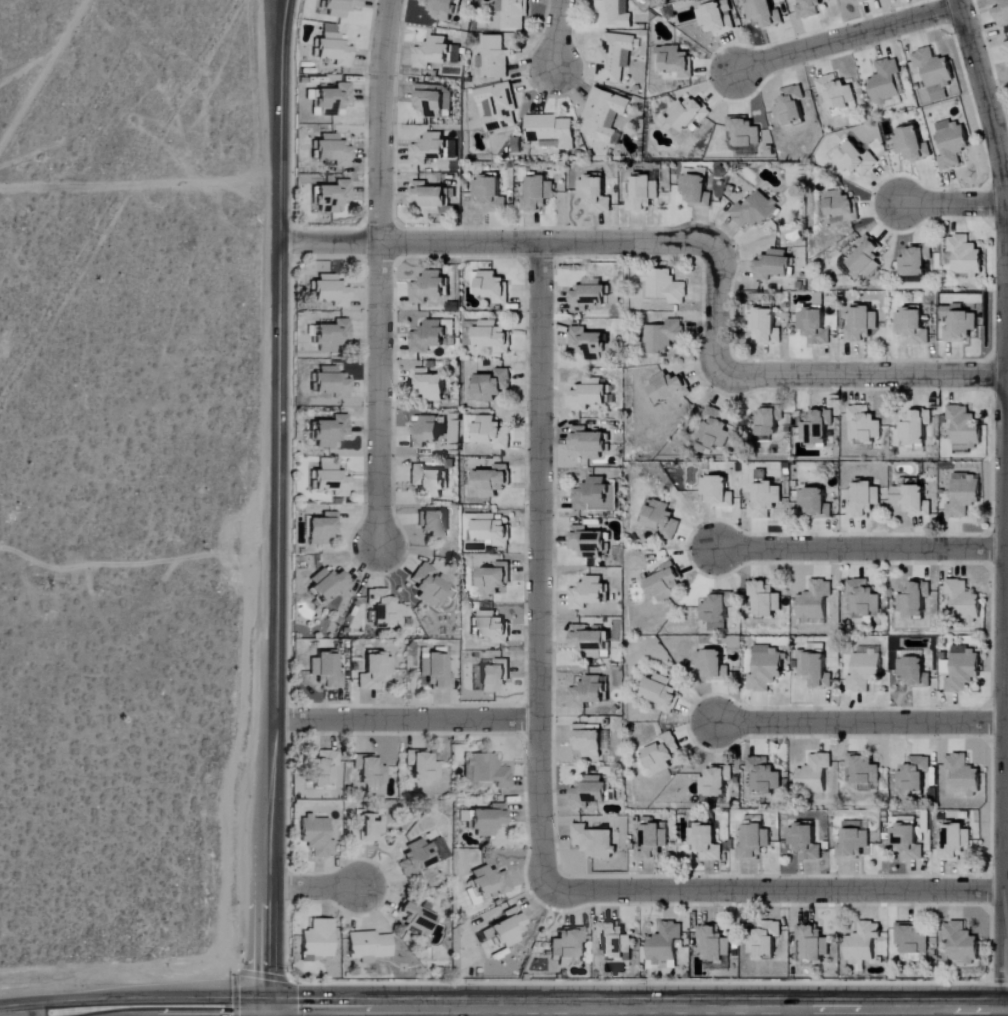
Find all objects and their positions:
building: (860, 1)
building: (707, 3)
building: (341, 8)
building: (444, 8)
building: (809, 9)
building: (765, 13)
building: (513, 14)
building: (614, 15)
building: (1003, 15)
building: (718, 18)
road: (556, 35)
road: (847, 39)
building: (334, 47)
building: (1006, 49)
building: (437, 54)
building: (615, 57)
building: (493, 58)
building: (674, 61)
road: (42, 71)
building: (886, 83)
building: (838, 93)
building: (334, 99)
building: (433, 100)
building: (497, 107)
building: (792, 107)
building: (604, 114)
building: (689, 114)
building: (550, 132)
building: (745, 132)
building: (953, 144)
building: (912, 145)
building: (430, 150)
building: (333, 152)
building: (856, 160)
road: (1004, 184)
building: (697, 190)
building: (490, 194)
building: (596, 194)
building: (538, 195)
building: (643, 195)
building: (333, 197)
building: (431, 198)
road: (952, 203)
building: (756, 212)
road: (409, 242)
building: (966, 256)
building: (868, 257)
building: (915, 263)
building: (775, 266)
road: (379, 272)
building: (430, 287)
building: (494, 287)
building: (666, 287)
building: (332, 290)
building: (592, 295)
building: (861, 324)
building: (959, 324)
building: (914, 326)
building: (766, 327)
building: (815, 327)
building: (332, 335)
building: (429, 336)
building: (487, 336)
building: (663, 336)
building: (591, 343)
road: (721, 364)
building: (332, 381)
building: (431, 385)
building: (492, 385)
building: (668, 387)
building: (592, 394)
building: (769, 421)
building: (865, 424)
building: (965, 426)
building: (715, 427)
building: (916, 428)
building: (817, 429)
building: (426, 430)
building: (331, 431)
building: (493, 432)
building: (591, 442)
building: (332, 479)
building: (428, 479)
building: (493, 481)
building: (718, 491)
building: (966, 495)
building: (596, 496)
building: (766, 497)
building: (913, 499)
building: (865, 500)
building: (817, 502)
road: (277, 508)
building: (663, 518)
building: (435, 523)
building: (323, 528)
building: (486, 529)
building: (591, 542)
road: (859, 549)
road: (538, 562)
building: (496, 579)
building: (666, 583)
building: (329, 584)
building: (429, 585)
building: (589, 593)
building: (765, 597)
building: (865, 598)
building: (815, 601)
building: (915, 601)
building: (965, 601)
building: (384, 608)
building: (717, 610)
building: (492, 627)
building: (592, 642)
building: (713, 664)
building: (766, 668)
building: (815, 669)
building: (965, 669)
building: (326, 670)
building: (436, 671)
building: (865, 671)
building: (915, 671)
building: (374, 672)
building: (495, 675)
building: (588, 692)
road: (1005, 692)
building: (663, 693)
road: (407, 720)
road: (859, 722)
building: (589, 741)
building: (663, 754)
building: (422, 765)
building: (323, 769)
building: (486, 769)
building: (369, 770)
building: (862, 770)
building: (815, 774)
building: (765, 775)
building: (915, 775)
building: (963, 775)
building: (716, 782)
building: (478, 786)
building: (592, 792)
building: (488, 820)
building: (367, 829)
building: (318, 836)
building: (595, 841)
building: (855, 841)
building: (653, 842)
building: (707, 842)
building: (756, 842)
building: (806, 842)
building: (908, 842)
building: (956, 843)
building: (417, 859)
building: (490, 882)
road: (311, 887)
road: (773, 890)
building: (416, 915)
building: (510, 928)
building: (319, 939)
building: (912, 939)
building: (766, 940)
building: (615, 941)
building: (666, 943)
building: (715, 943)
building: (813, 943)
building: (864, 943)
building: (962, 943)
building: (369, 945)
building: (566, 945)
road: (531, 1010)
traffic signals: (263, 1012)
road: (794, 1013)
road: (73, 1015)

